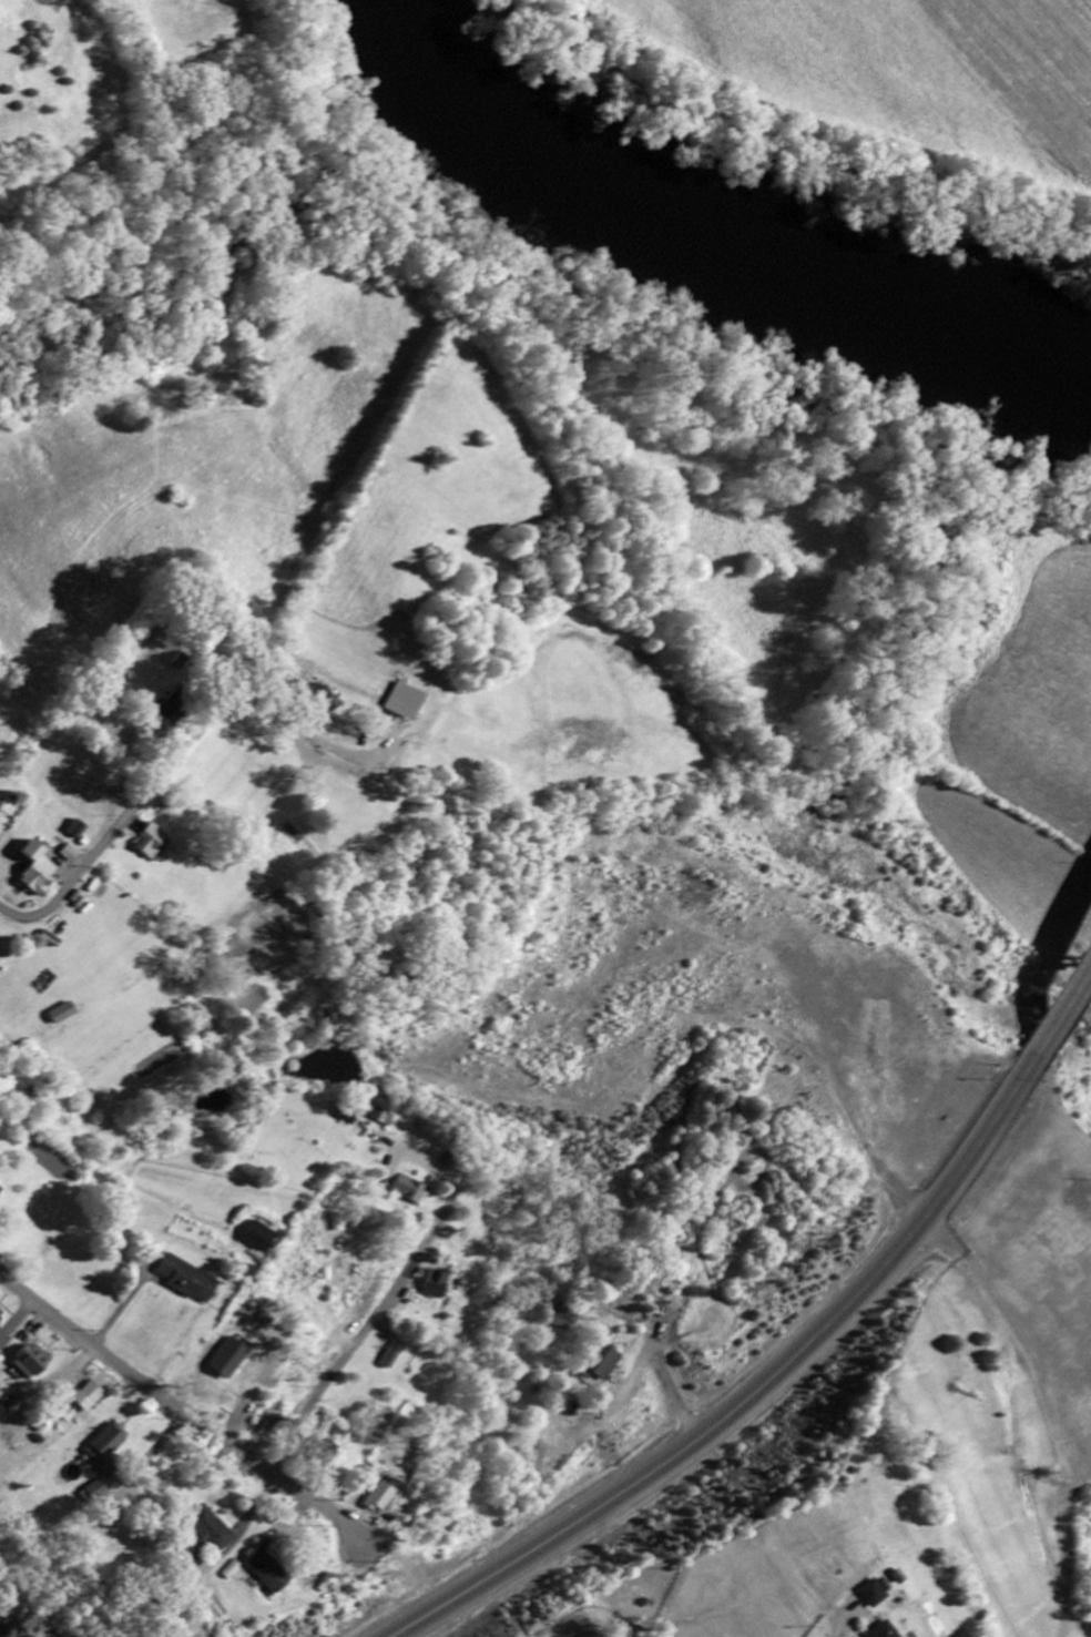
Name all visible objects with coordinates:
river: (713, 233)
building: (171, 712)
road: (134, 804)
building: (77, 831)
building: (149, 842)
building: (68, 855)
building: (37, 871)
road: (1068, 993)
building: (63, 1015)
building: (379, 1118)
building: (405, 1190)
building: (0, 1191)
building: (259, 1239)
building: (188, 1281)
building: (436, 1285)
building: (624, 1310)
building: (565, 1316)
road: (366, 1330)
building: (395, 1356)
building: (232, 1361)
building: (31, 1363)
building: (605, 1365)
road: (774, 1385)
road: (676, 1391)
building: (89, 1399)
road: (187, 1409)
building: (108, 1445)
building: (110, 1470)
building: (94, 1494)
road: (690, 1529)
building: (211, 1533)
building: (269, 1573)
building: (899, 1579)
building: (874, 1596)
building: (884, 1631)
road: (581, 1634)

